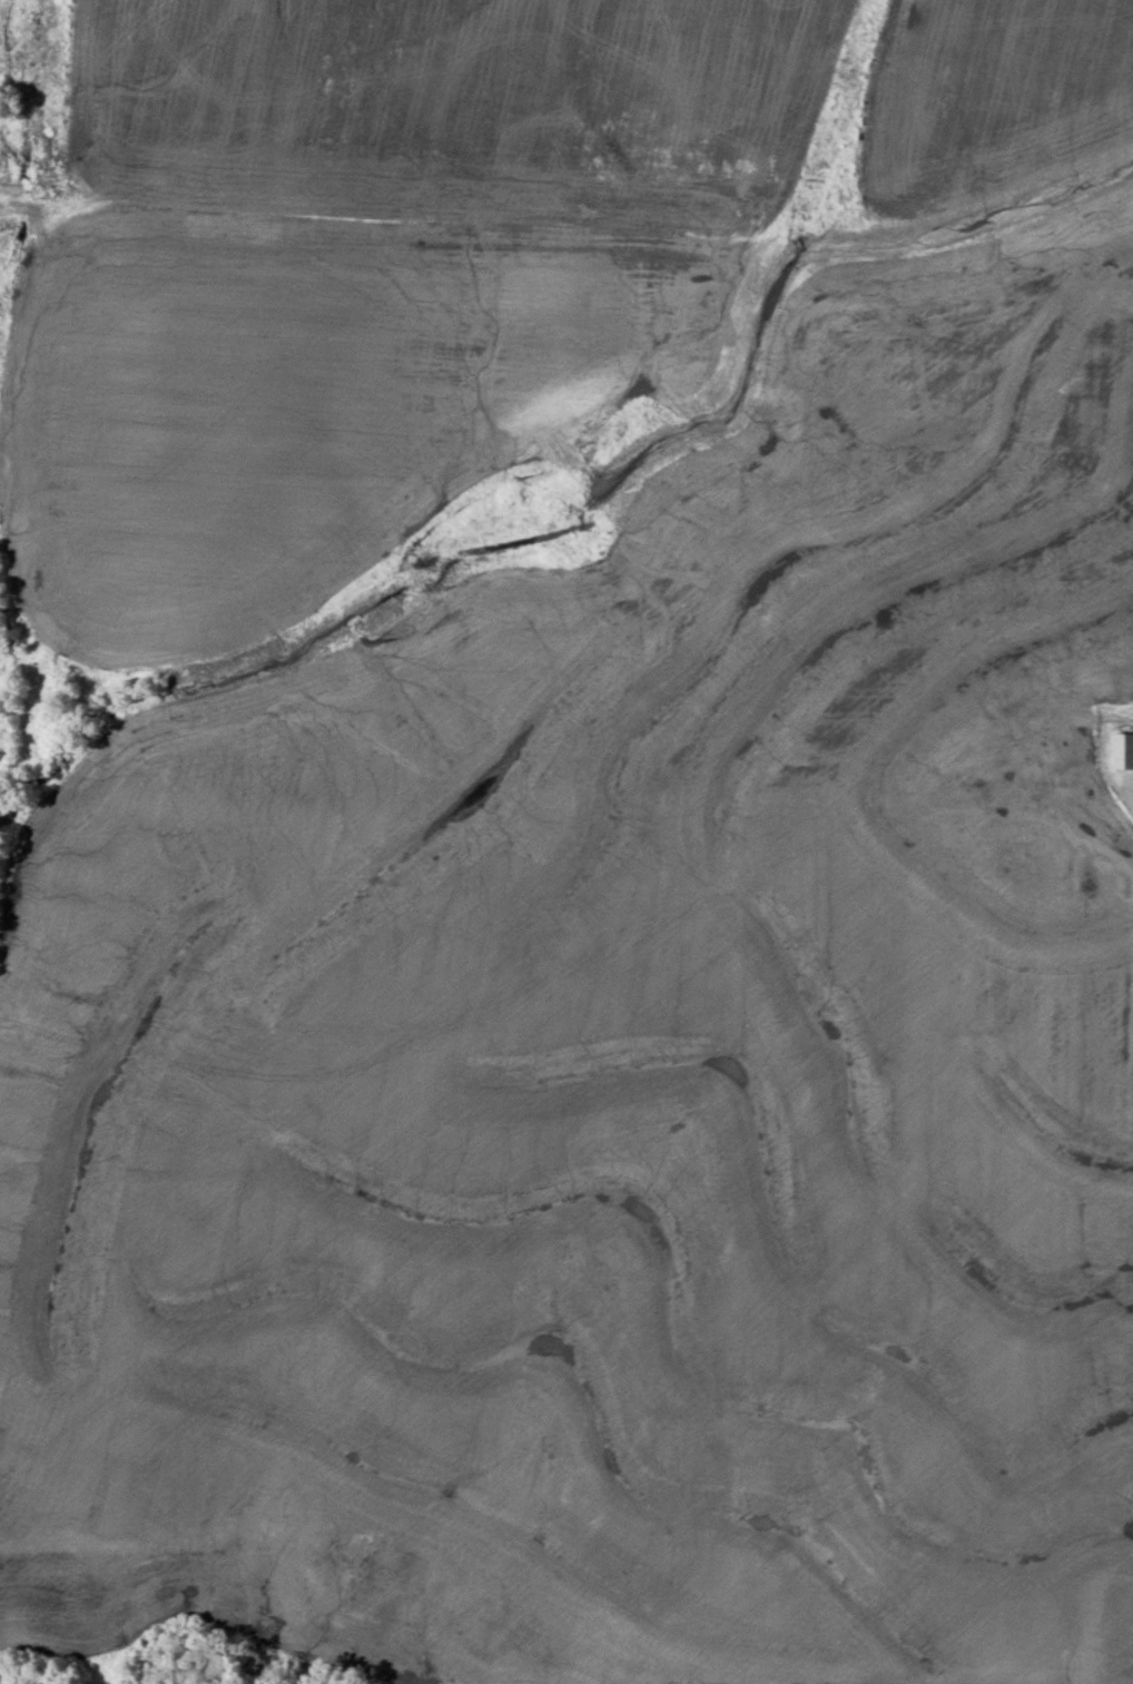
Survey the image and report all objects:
building: (1122, 752)

